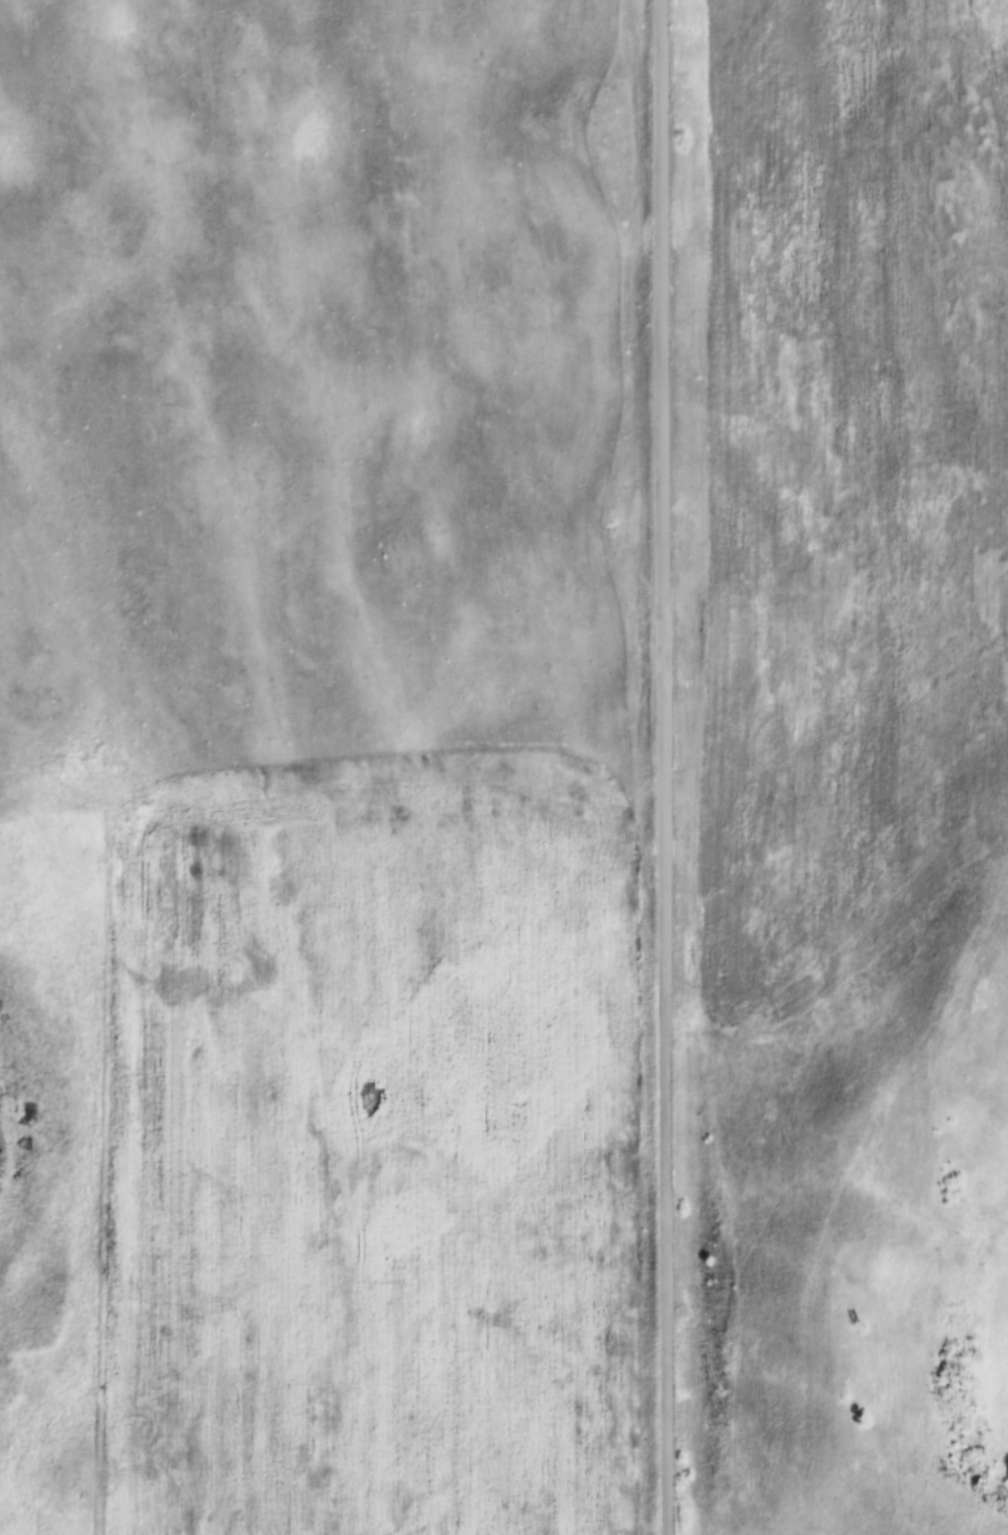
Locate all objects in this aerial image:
road: (663, 767)

